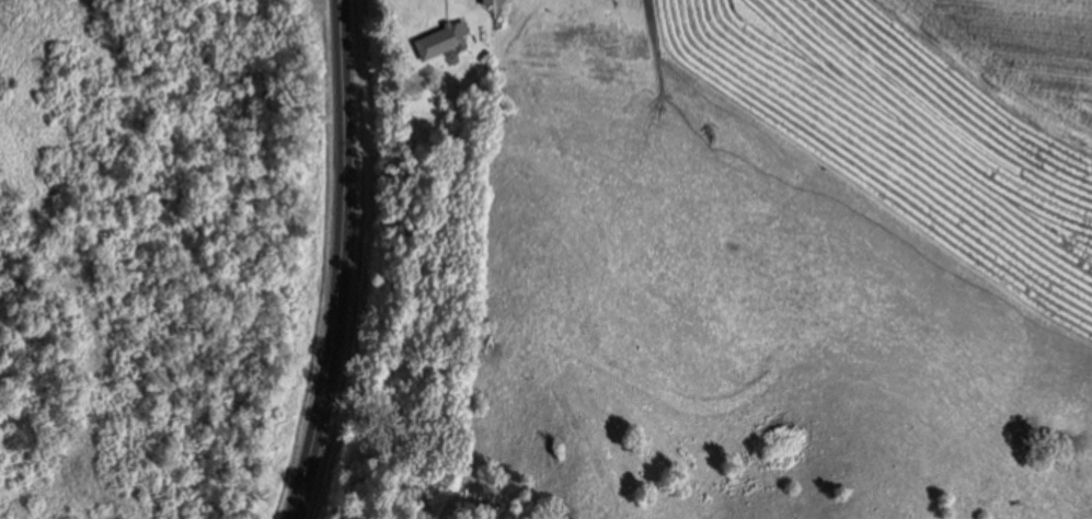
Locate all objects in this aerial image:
building: (440, 38)
road: (338, 262)

